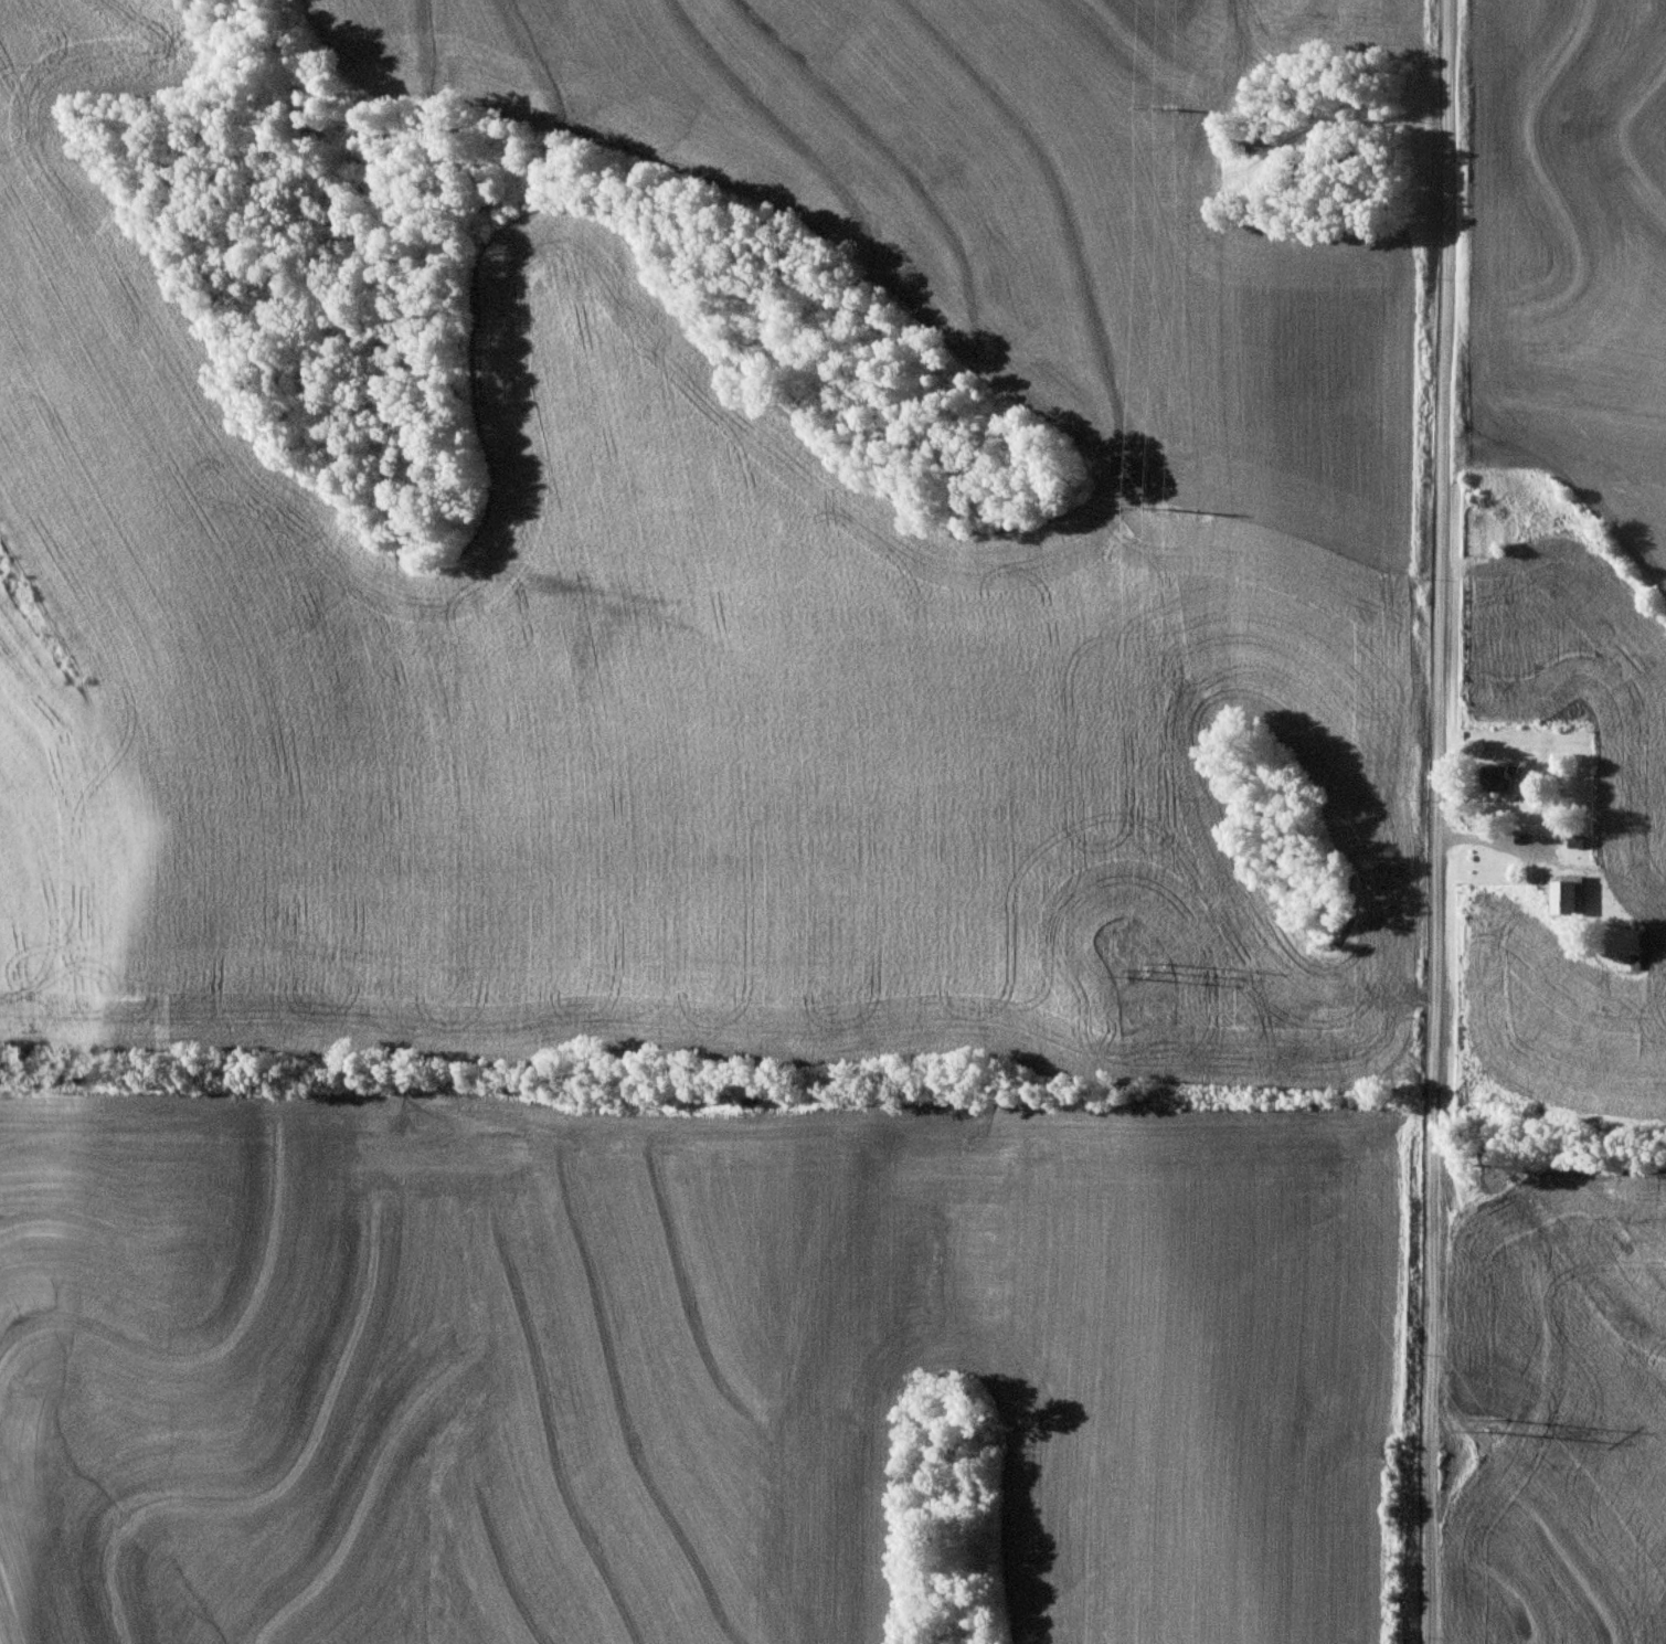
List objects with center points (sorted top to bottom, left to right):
power tower: (1157, 115)
power tower: (1146, 511)
building: (1499, 777)
road: (1437, 821)
building: (1578, 839)
building: (1563, 893)
building: (1633, 947)
power tower: (1139, 974)
power tower: (1485, 1431)

